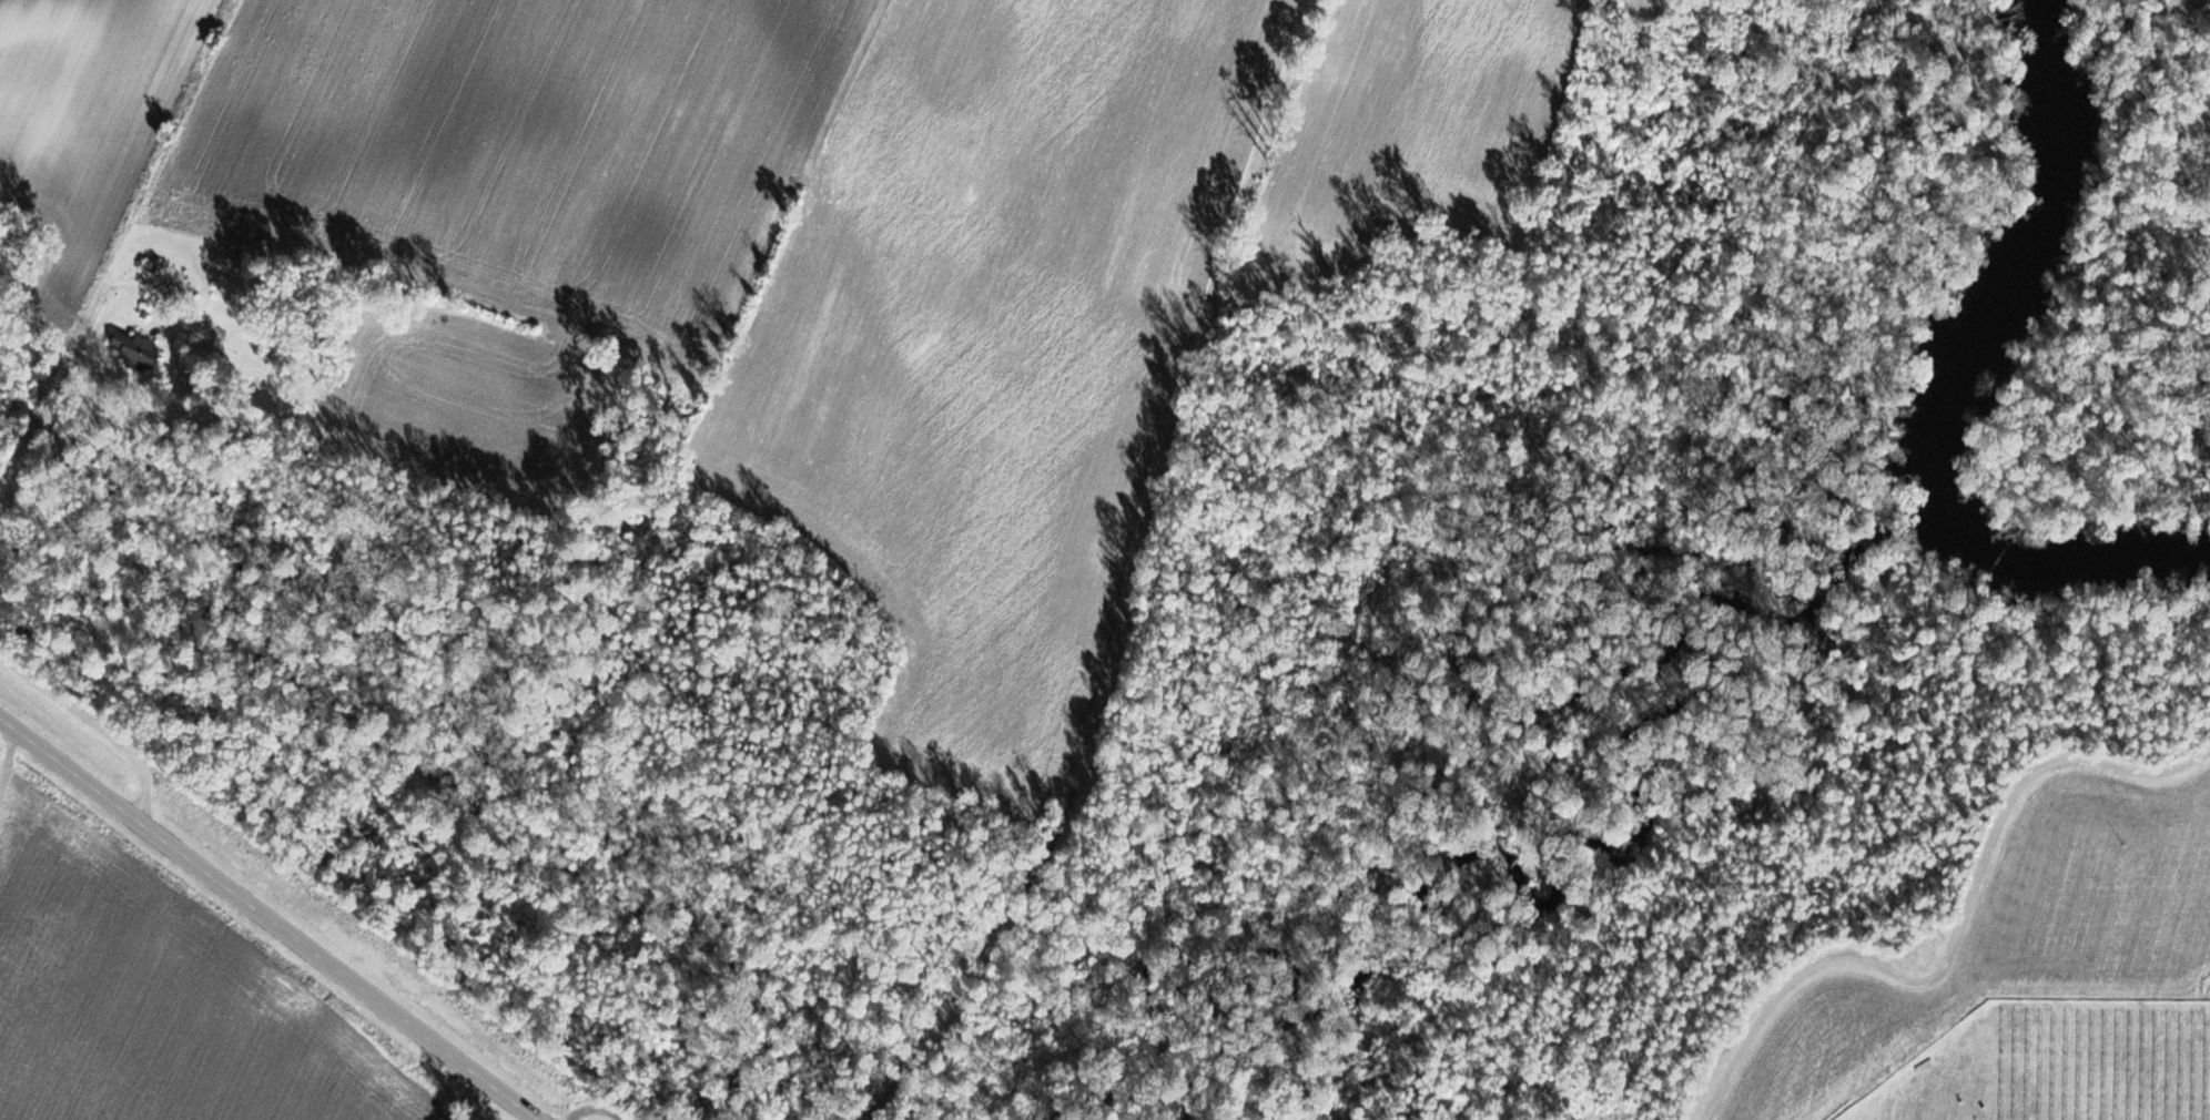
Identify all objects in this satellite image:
building: (237, 289)
airport: (2121, 303)
building: (138, 348)
river: (1956, 388)
road: (1158, 584)
road: (268, 918)
road: (1954, 937)
road: (592, 1107)

